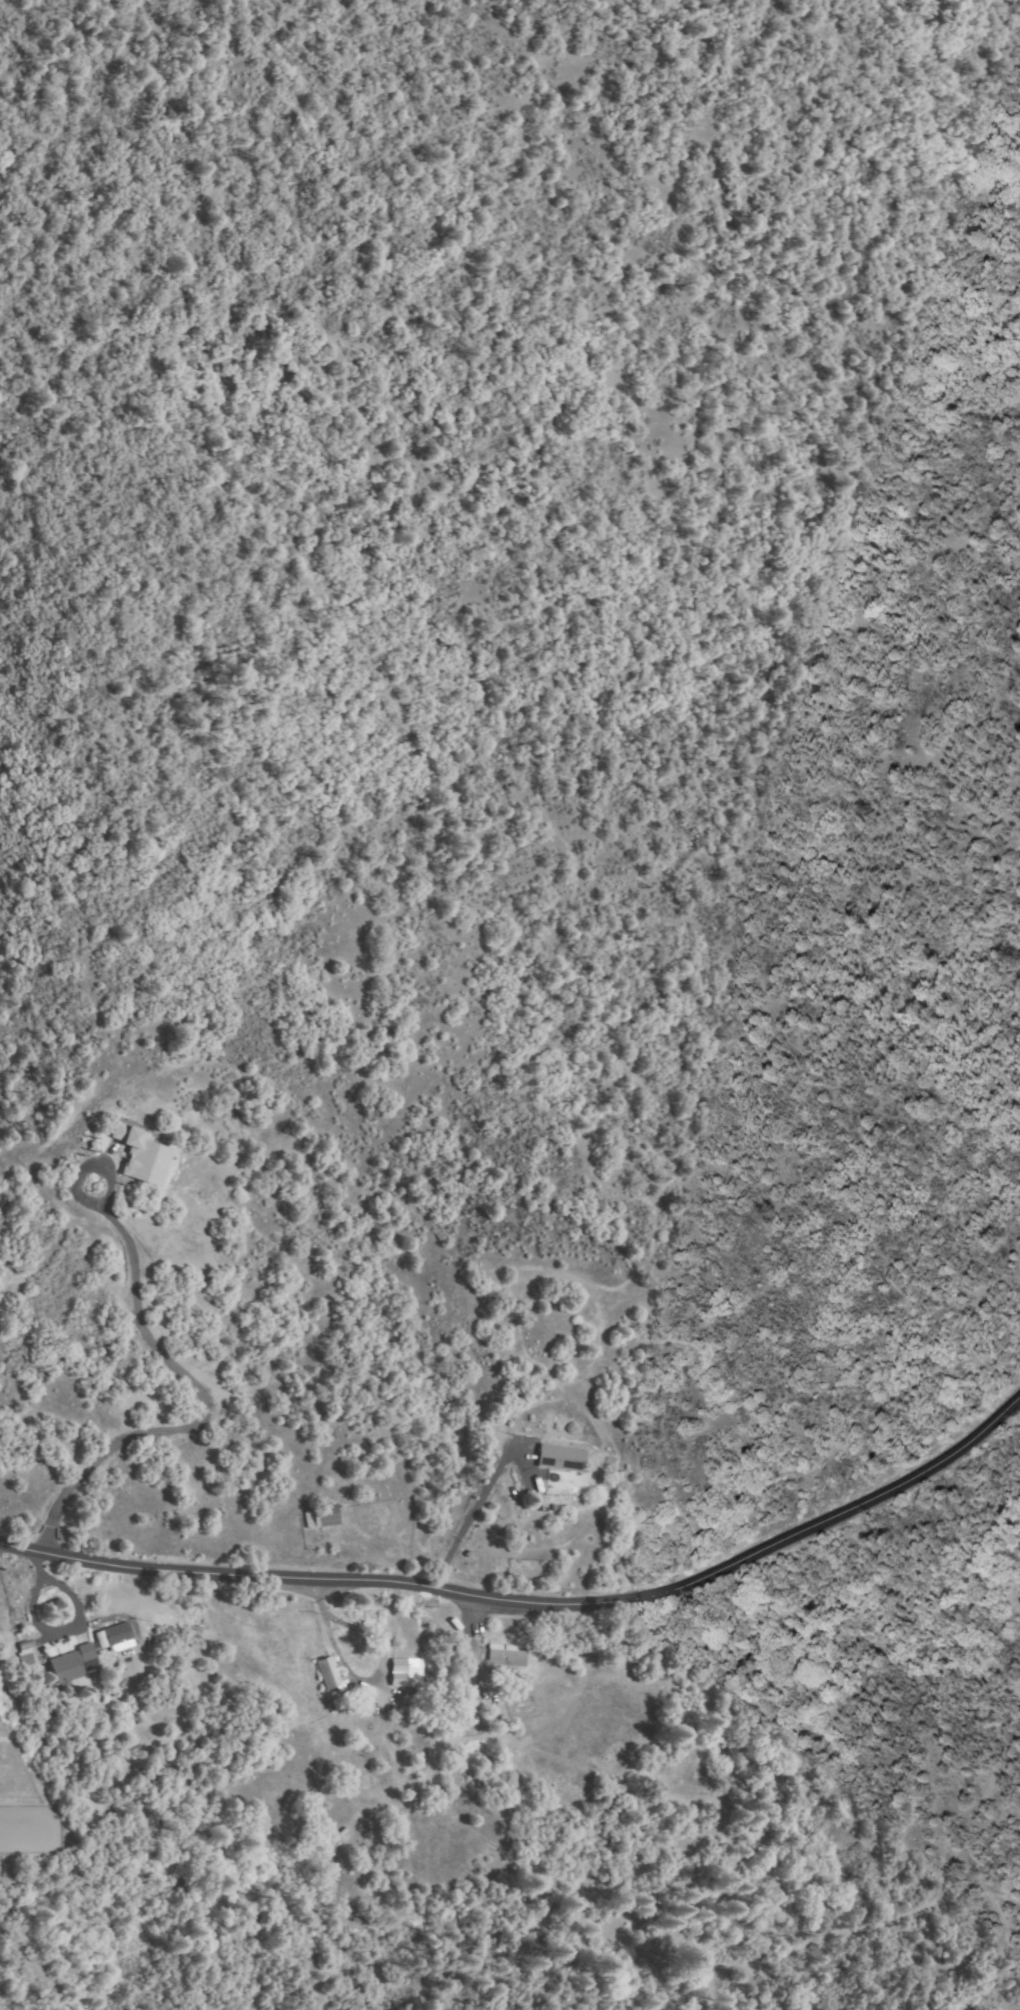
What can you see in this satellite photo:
building: (143, 1156)
building: (562, 1458)
building: (323, 1515)
road: (534, 1608)
building: (119, 1637)
building: (507, 1658)
building: (26, 1659)
building: (77, 1660)
building: (406, 1673)
building: (330, 1674)
building: (363, 1744)

